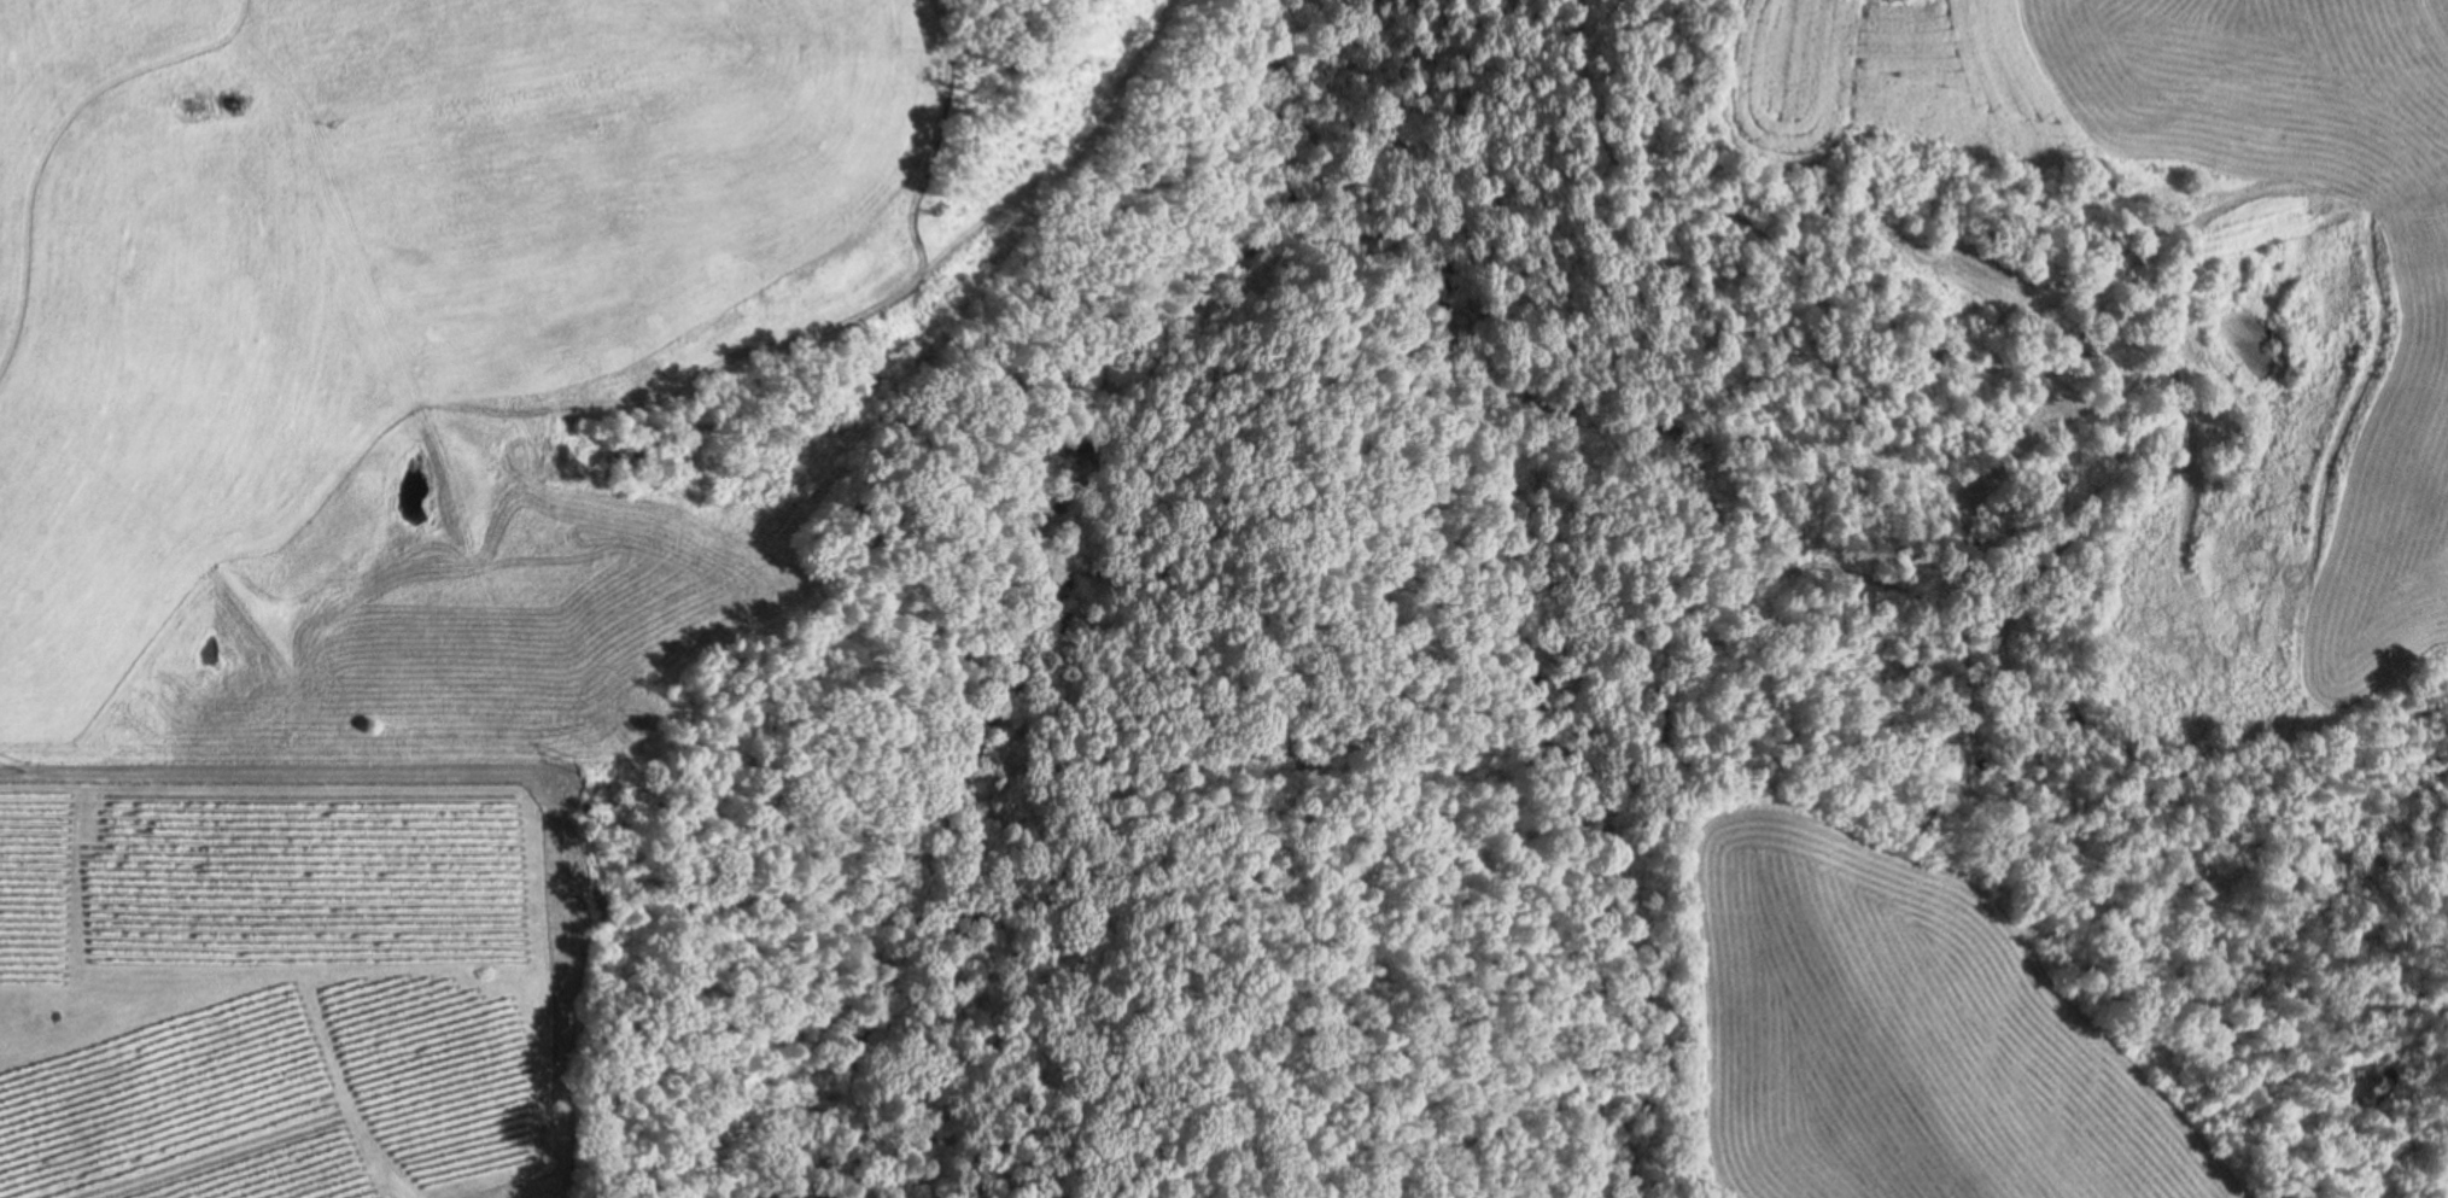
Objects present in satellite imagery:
power tower: (45, 769)
road: (1200, 813)
building: (8, 989)

